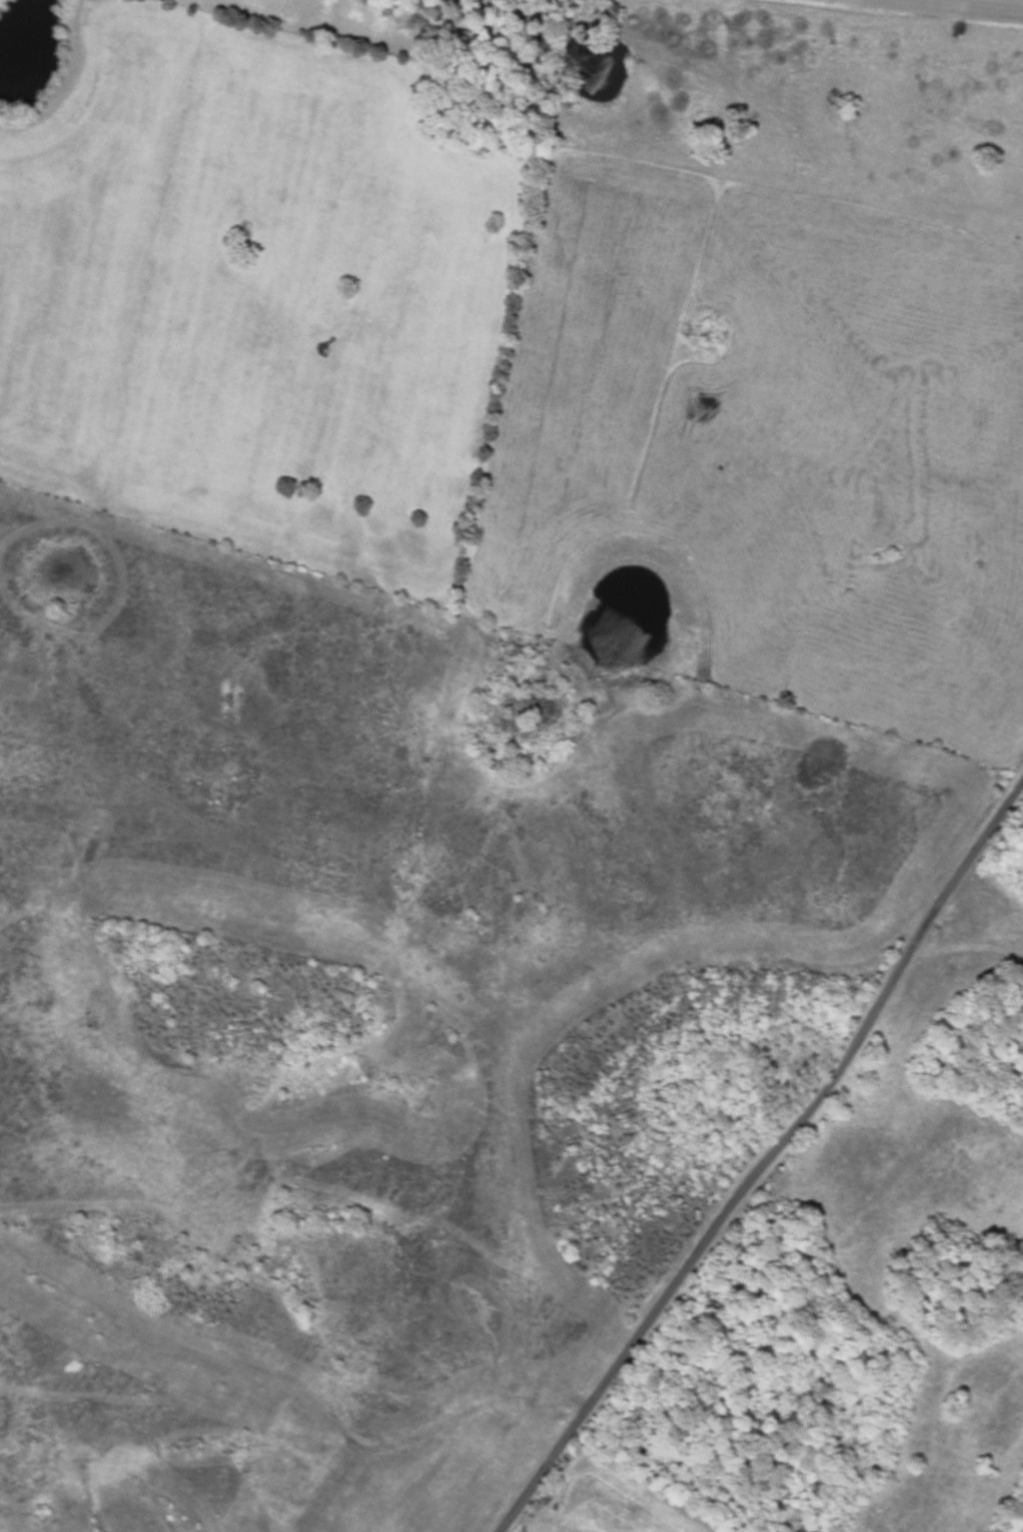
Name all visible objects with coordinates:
park: (985, 1042)
road: (769, 1160)

